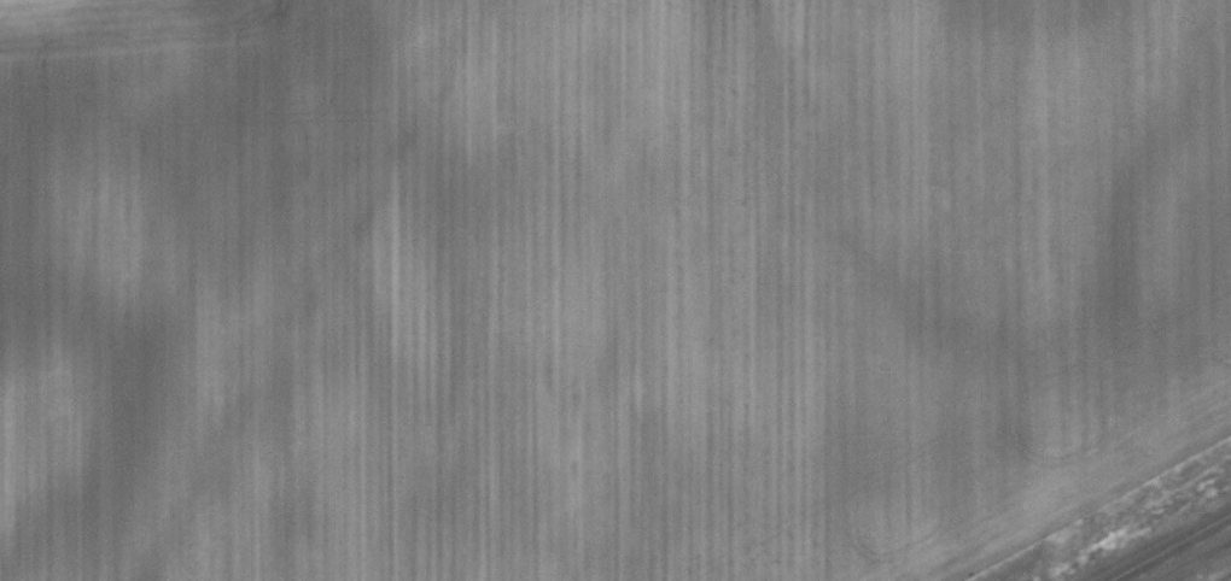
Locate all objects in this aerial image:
road: (1182, 553)

